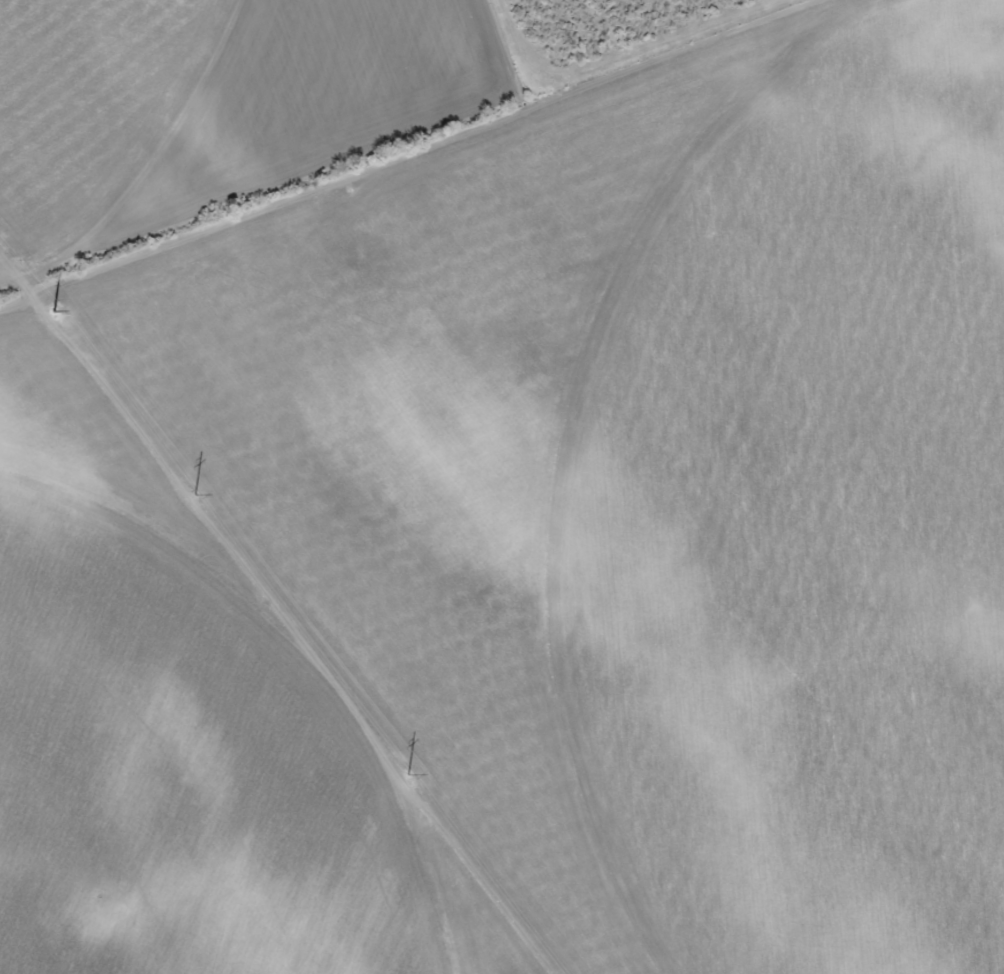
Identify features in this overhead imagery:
power tower: (46, 303)
power tower: (189, 489)
power tower: (402, 768)

